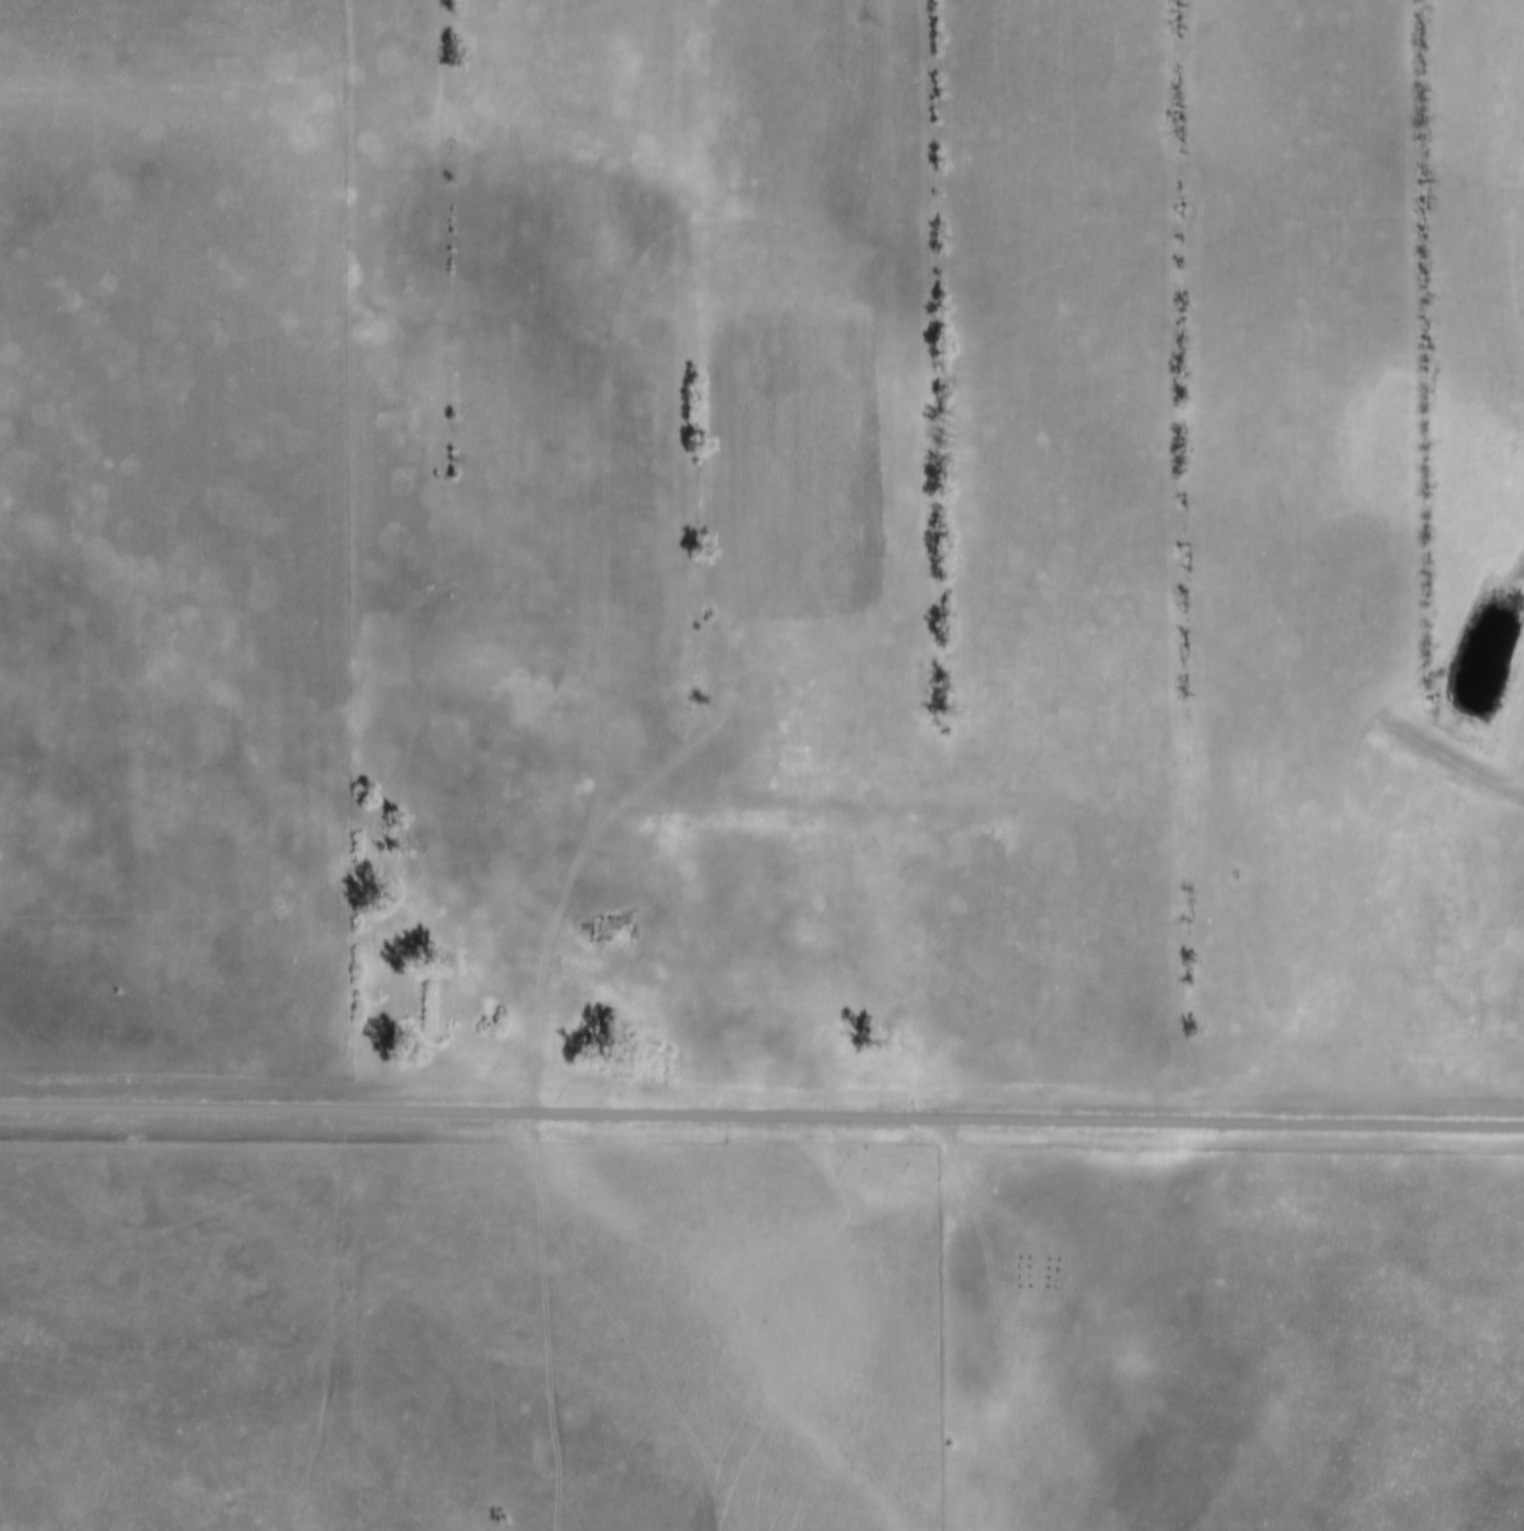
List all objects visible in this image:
road: (762, 1114)

